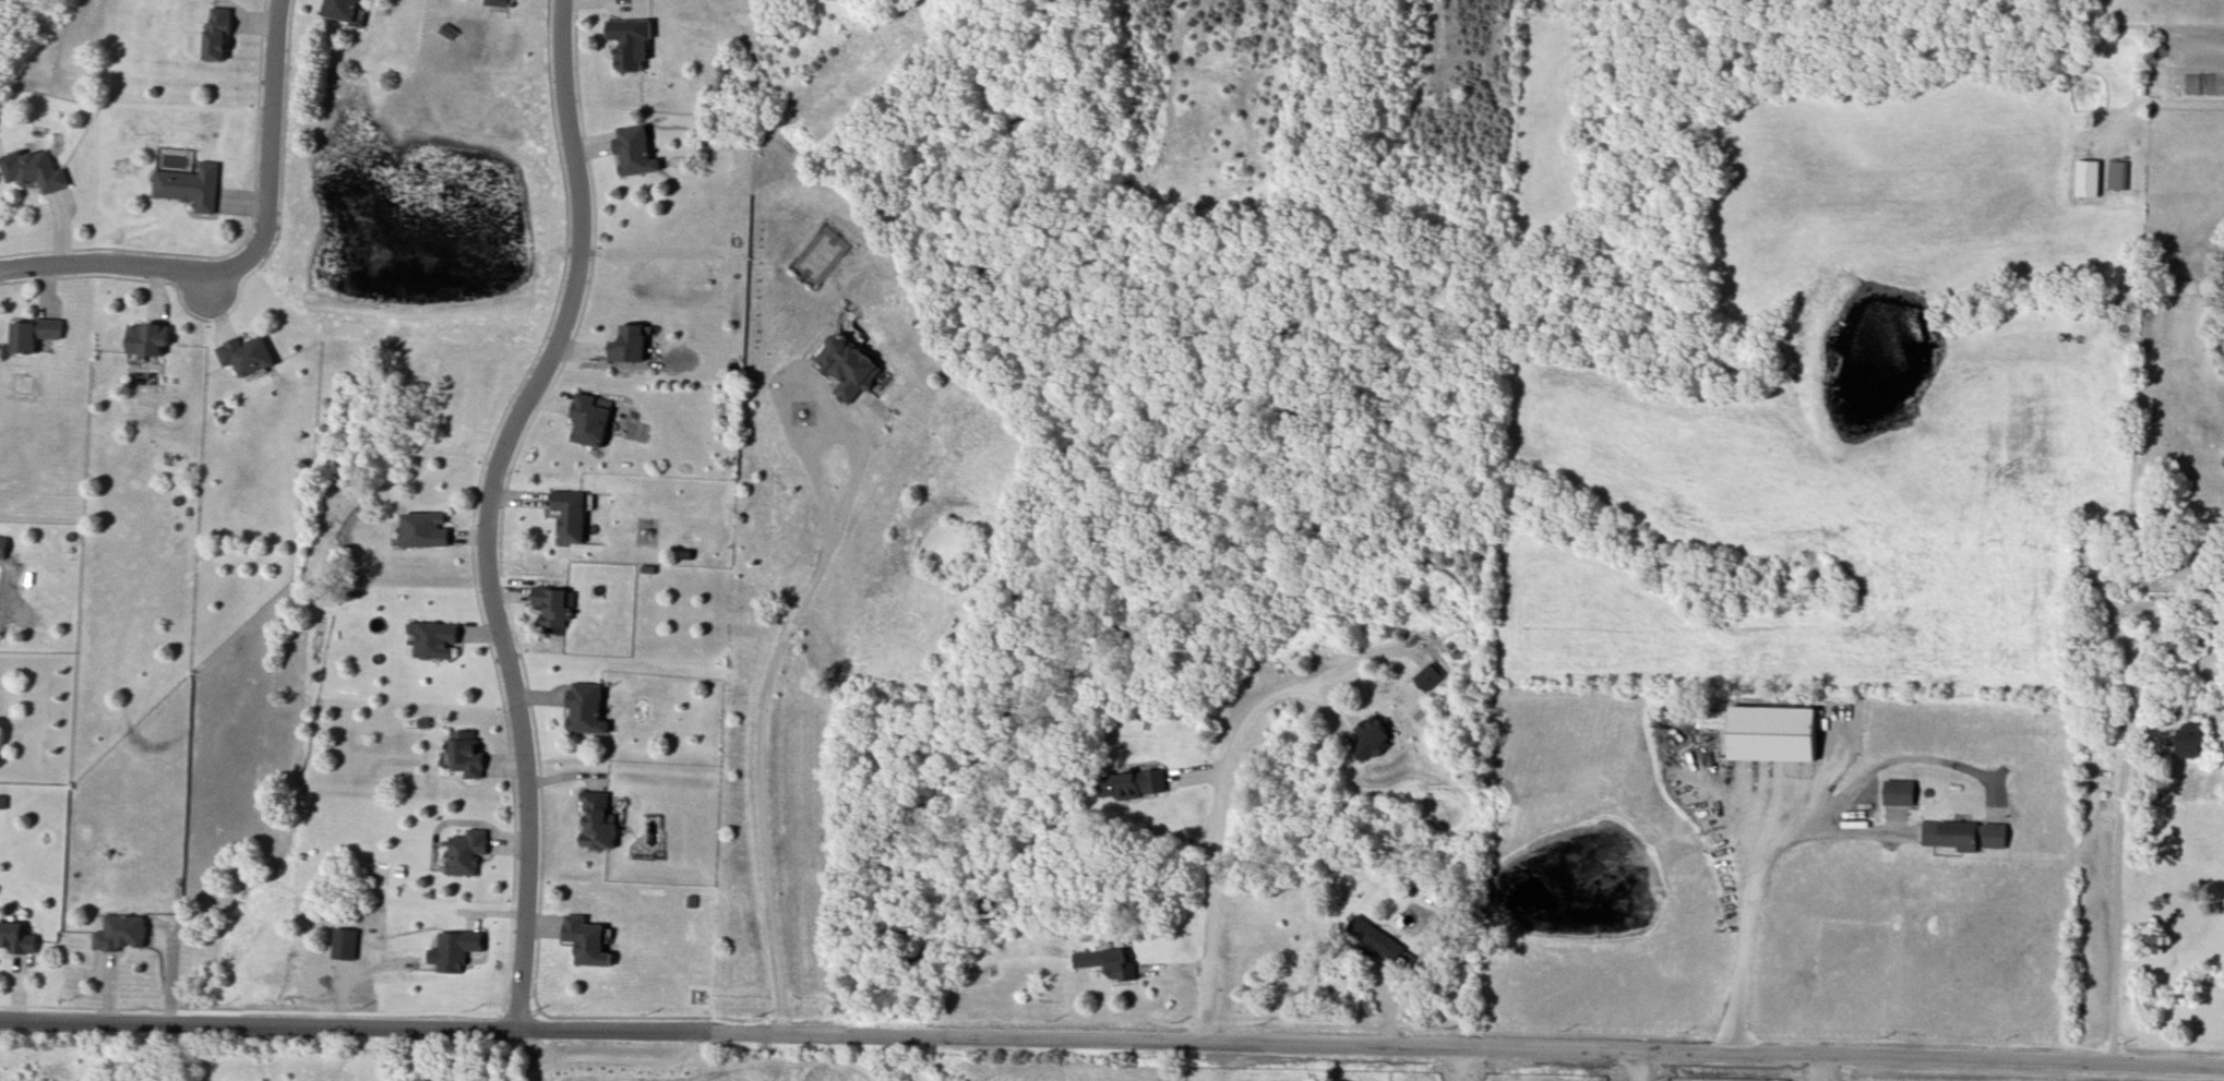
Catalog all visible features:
building: (506, 1)
building: (342, 7)
building: (445, 32)
building: (218, 33)
building: (631, 46)
road: (275, 131)
building: (635, 148)
building: (32, 173)
building: (2118, 176)
building: (2089, 179)
building: (186, 187)
road: (134, 273)
building: (150, 337)
building: (33, 340)
building: (629, 344)
building: (247, 353)
building: (847, 372)
road: (800, 381)
building: (589, 420)
road: (822, 454)
road: (491, 512)
building: (570, 517)
building: (423, 530)
building: (551, 608)
building: (437, 640)
building: (1430, 677)
building: (586, 708)
building: (422, 723)
building: (1772, 735)
building: (1372, 738)
building: (467, 755)
building: (1134, 785)
building: (1898, 792)
road: (763, 793)
building: (598, 819)
road: (1217, 834)
building: (1962, 834)
building: (466, 851)
road: (2112, 897)
building: (691, 902)
road: (1741, 914)
building: (119, 936)
building: (1377, 938)
building: (16, 940)
building: (585, 941)
building: (1103, 965)
road: (1111, 1047)
road: (609, 1058)
road: (530, 1059)
road: (1459, 1067)
road: (1633, 1068)

